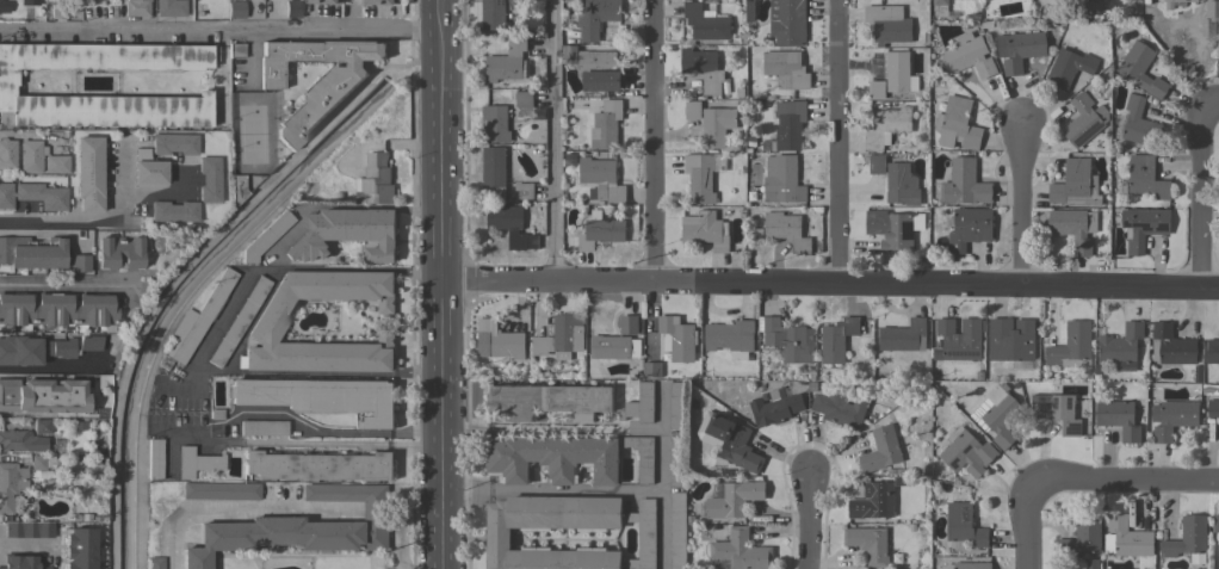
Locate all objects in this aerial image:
road: (435, 0)
building: (326, 1)
building: (377, 2)
building: (1176, 2)
building: (0, 4)
building: (1093, 5)
building: (939, 7)
building: (136, 8)
building: (169, 8)
building: (292, 8)
building: (235, 10)
building: (57, 11)
building: (493, 14)
building: (596, 18)
building: (1209, 18)
building: (787, 21)
building: (704, 23)
building: (887, 24)
road: (217, 30)
building: (1020, 49)
building: (235, 50)
building: (969, 56)
building: (507, 60)
building: (1069, 67)
building: (703, 68)
building: (786, 69)
building: (1141, 69)
building: (600, 70)
building: (898, 73)
building: (6, 88)
building: (875, 89)
building: (524, 99)
building: (314, 106)
building: (692, 110)
building: (1084, 119)
building: (495, 123)
building: (957, 124)
building: (1140, 124)
building: (606, 125)
building: (788, 125)
building: (716, 126)
building: (886, 126)
building: (174, 143)
road: (558, 143)
road: (657, 143)
road: (839, 146)
building: (7, 154)
building: (31, 156)
building: (56, 163)
building: (877, 165)
building: (147, 168)
building: (493, 171)
building: (87, 173)
building: (700, 177)
building: (1146, 178)
building: (600, 179)
building: (781, 179)
building: (208, 180)
building: (375, 180)
building: (901, 184)
building: (965, 184)
building: (1076, 185)
building: (235, 188)
building: (524, 191)
building: (33, 196)
road: (1203, 199)
building: (172, 211)
road: (1023, 212)
road: (94, 224)
building: (509, 224)
building: (1073, 227)
building: (1143, 227)
building: (970, 228)
building: (890, 229)
building: (600, 230)
building: (705, 230)
building: (787, 230)
building: (346, 234)
building: (265, 236)
building: (118, 252)
building: (31, 253)
building: (79, 264)
road: (62, 284)
road: (438, 285)
road: (828, 290)
building: (56, 309)
building: (193, 322)
building: (237, 322)
building: (268, 322)
building: (627, 324)
building: (904, 335)
building: (561, 336)
building: (730, 338)
road: (208, 339)
building: (837, 339)
building: (959, 339)
building: (497, 340)
building: (674, 340)
building: (788, 340)
building: (89, 342)
building: (1011, 342)
building: (1121, 344)
building: (1171, 345)
building: (1072, 346)
building: (614, 347)
building: (61, 348)
building: (21, 351)
building: (1213, 351)
building: (651, 369)
building: (42, 395)
building: (318, 397)
building: (550, 400)
building: (639, 404)
building: (839, 407)
building: (1213, 408)
building: (775, 409)
building: (1058, 412)
building: (1001, 415)
building: (1118, 418)
building: (1175, 419)
building: (76, 426)
building: (42, 427)
building: (262, 427)
road: (327, 429)
road: (550, 431)
building: (677, 431)
building: (729, 440)
building: (20, 441)
road: (293, 443)
building: (880, 450)
building: (966, 452)
building: (153, 458)
building: (567, 458)
building: (37, 463)
building: (196, 463)
building: (318, 466)
road: (662, 476)
road: (1128, 482)
building: (11, 484)
building: (221, 490)
building: (734, 499)
building: (873, 501)
road: (240, 507)
road: (376, 517)
building: (1215, 522)
road: (807, 524)
road: (1037, 525)
building: (964, 526)
building: (299, 527)
building: (27, 530)
building: (679, 530)
building: (644, 534)
building: (1126, 538)
building: (497, 539)
building: (1083, 539)
building: (1188, 539)
road: (25, 544)
road: (400, 544)
building: (871, 544)
building: (78, 549)
building: (741, 551)
building: (20, 561)
building: (154, 563)
building: (967, 565)

